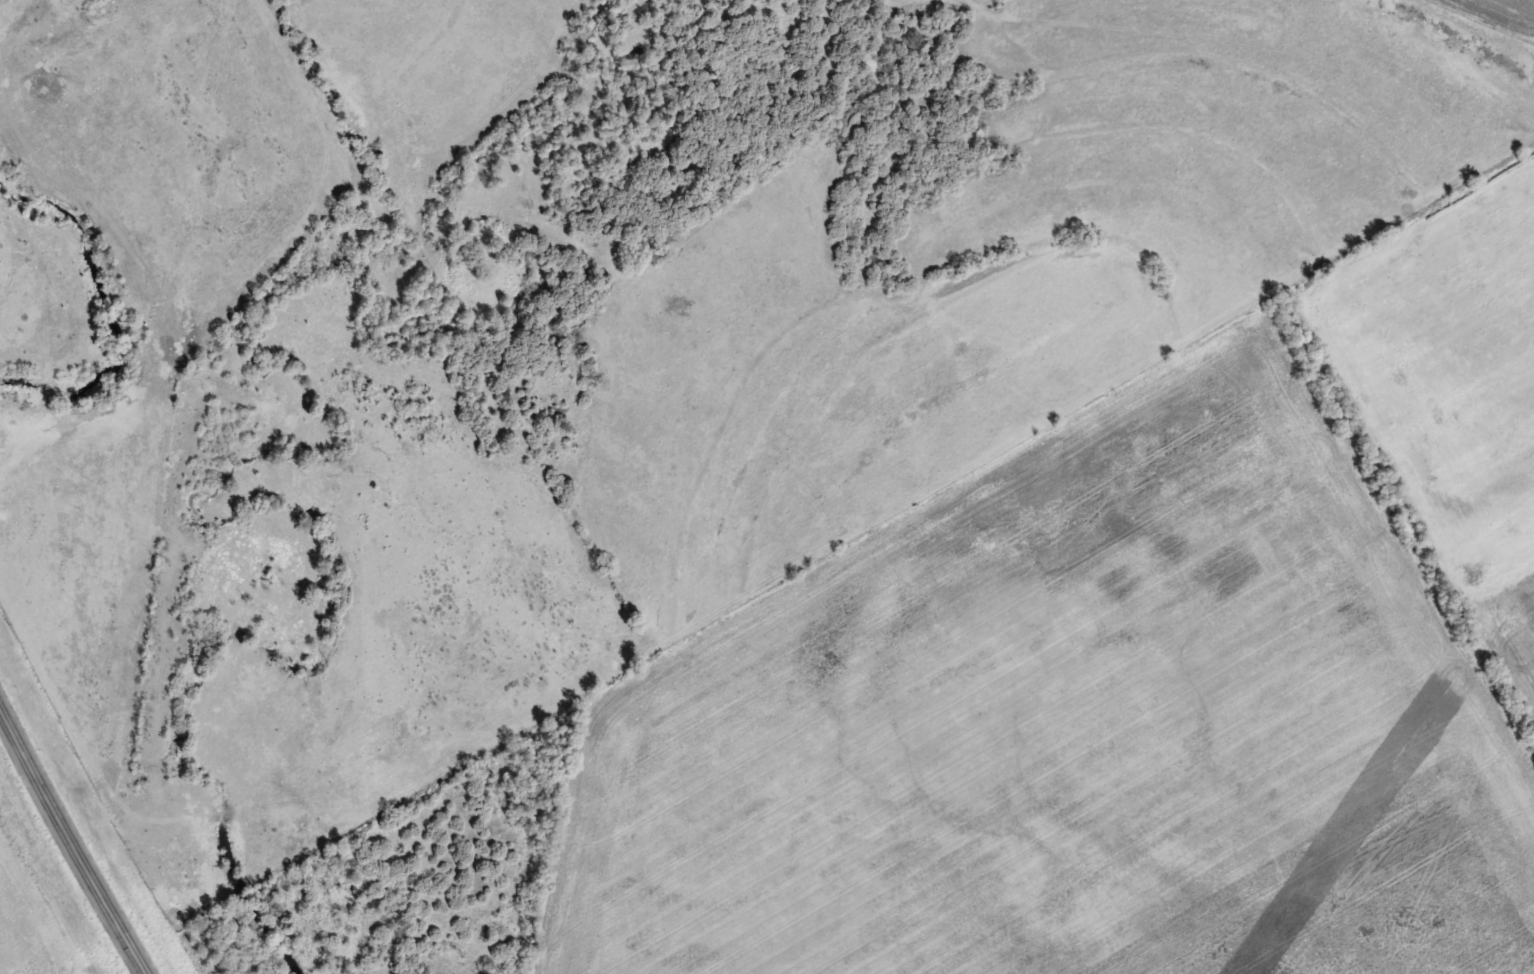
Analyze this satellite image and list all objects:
road: (67, 844)

